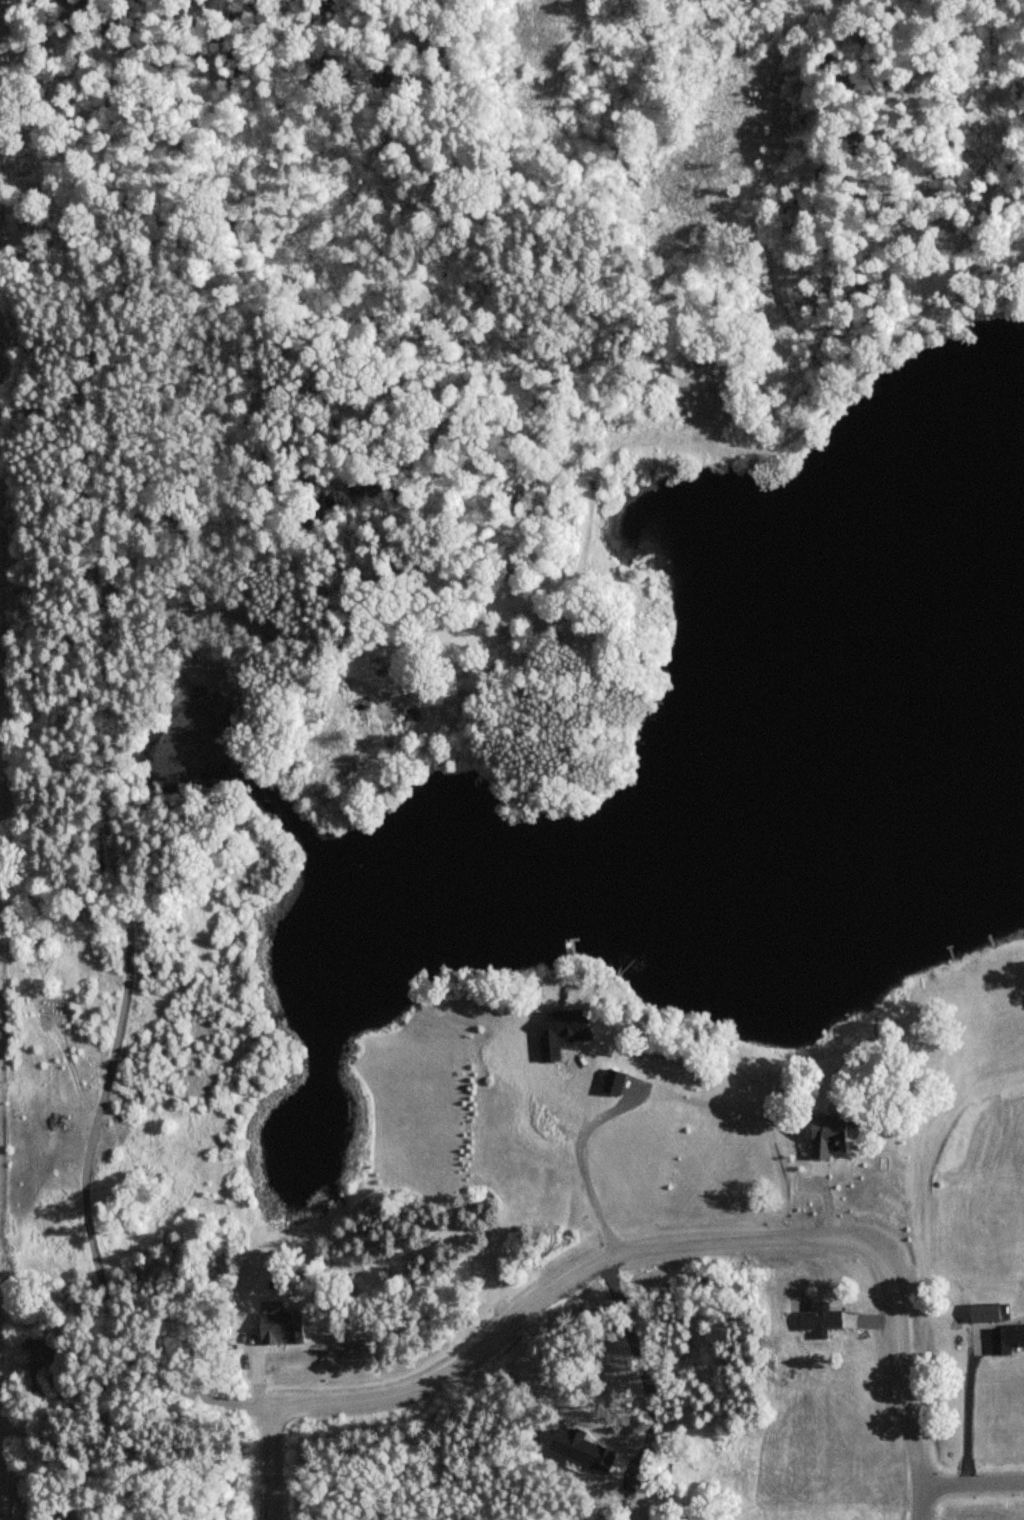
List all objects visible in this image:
building: (582, 1022)
building: (618, 1080)
building: (834, 1133)
road: (599, 1154)
road: (607, 1258)
building: (990, 1311)
building: (825, 1319)
road: (980, 1410)
road: (971, 1482)
road: (918, 1484)

